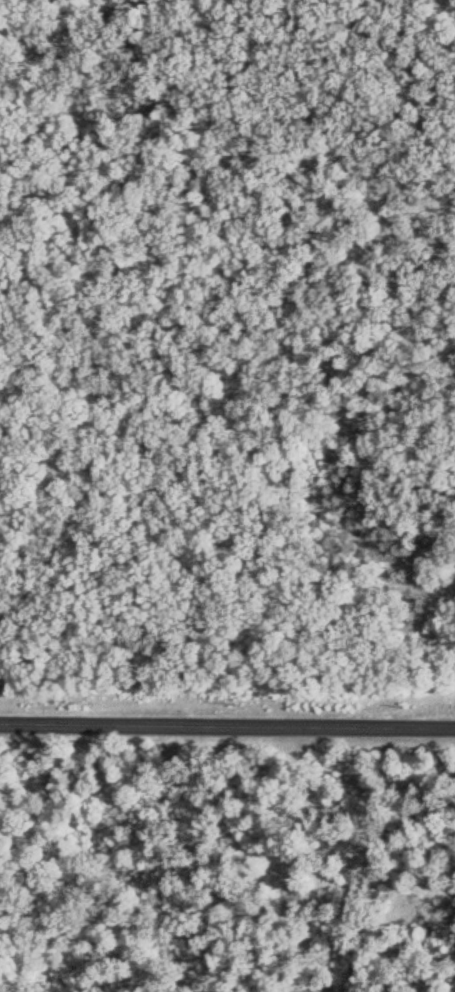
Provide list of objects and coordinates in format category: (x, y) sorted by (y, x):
road: (227, 725)

